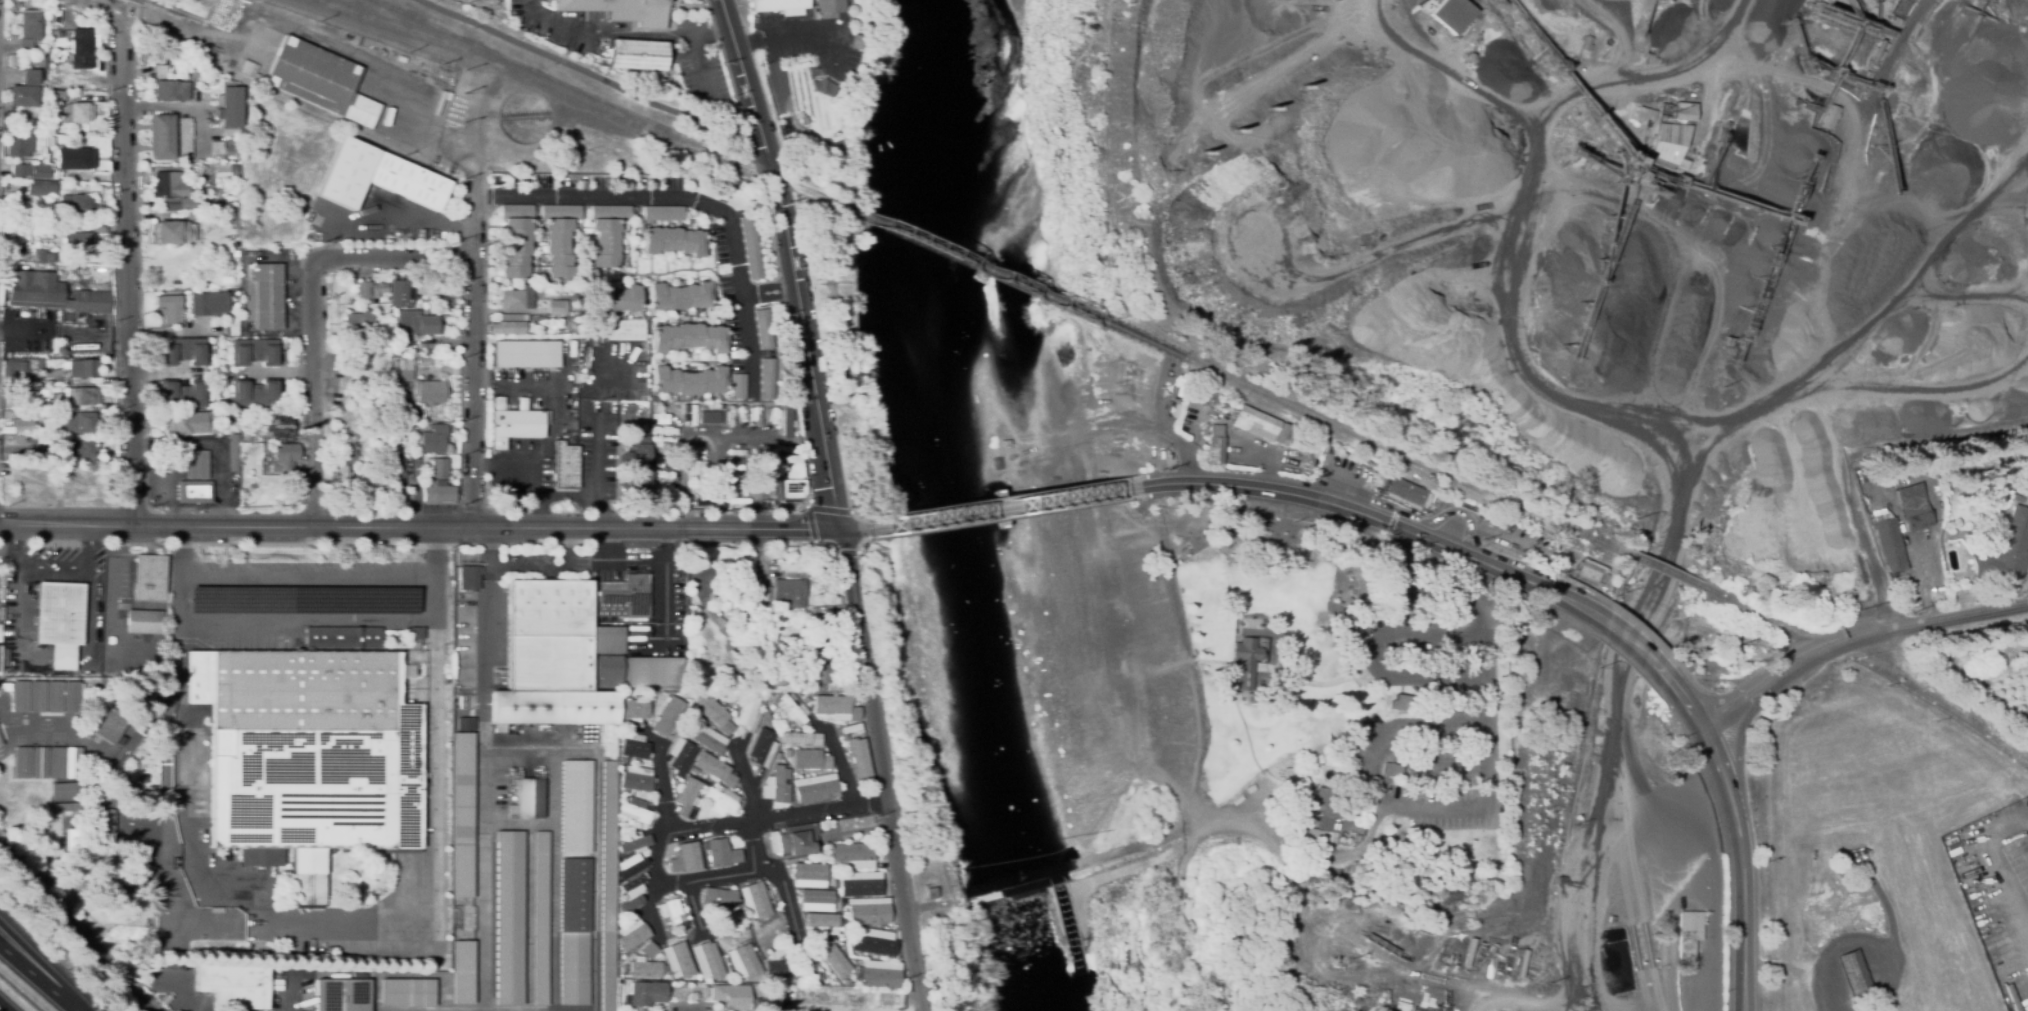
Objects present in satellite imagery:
building: (693, 0)
building: (1890, 1)
road: (104, 5)
building: (847, 5)
building: (780, 6)
building: (829, 6)
building: (621, 10)
building: (1453, 14)
road: (555, 19)
building: (1895, 22)
building: (29, 24)
road: (312, 36)
building: (858, 42)
building: (1586, 42)
building: (44, 46)
building: (82, 49)
building: (637, 55)
building: (171, 56)
building: (1469, 57)
building: (35, 59)
building: (12, 60)
building: (160, 71)
road: (588, 75)
railway: (524, 76)
building: (30, 77)
building: (320, 81)
building: (819, 82)
building: (171, 90)
building: (57, 95)
building: (24, 96)
railway: (607, 104)
building: (229, 106)
road: (180, 109)
building: (1685, 112)
building: (75, 113)
building: (1643, 115)
building: (1831, 117)
building: (8, 124)
building: (163, 136)
building: (185, 137)
building: (20, 145)
building: (1669, 147)
building: (216, 148)
building: (75, 159)
building: (32, 171)
building: (222, 171)
building: (235, 171)
building: (377, 177)
building: (226, 183)
building: (170, 184)
building: (42, 188)
road: (682, 199)
building: (185, 201)
building: (77, 204)
road: (401, 207)
building: (521, 212)
building: (561, 212)
building: (611, 212)
building: (663, 212)
building: (9, 230)
building: (171, 232)
building: (673, 241)
building: (78, 242)
building: (605, 242)
building: (751, 247)
building: (516, 248)
building: (558, 248)
building: (235, 253)
building: (44, 257)
road: (395, 260)
road: (789, 263)
road: (129, 268)
railway: (1014, 282)
building: (380, 287)
building: (364, 290)
building: (53, 293)
building: (401, 294)
road: (767, 295)
building: (263, 296)
building: (679, 296)
building: (614, 297)
building: (517, 298)
road: (472, 299)
park: (835, 300)
building: (353, 302)
building: (449, 302)
building: (209, 303)
building: (558, 308)
building: (170, 309)
building: (357, 322)
building: (417, 323)
building: (510, 325)
building: (764, 329)
road: (23, 332)
building: (627, 333)
building: (382, 335)
building: (689, 337)
building: (399, 348)
building: (61, 351)
building: (184, 352)
building: (255, 352)
building: (526, 354)
building: (83, 368)
building: (405, 368)
building: (20, 369)
road: (273, 373)
road: (168, 374)
building: (574, 376)
building: (767, 377)
building: (687, 381)
building: (50, 383)
building: (738, 386)
building: (405, 387)
building: (430, 391)
building: (255, 393)
road: (1601, 393)
building: (183, 394)
building: (82, 396)
road: (312, 396)
building: (498, 403)
building: (709, 417)
building: (786, 419)
building: (79, 422)
building: (189, 422)
building: (25, 425)
building: (1261, 425)
building: (279, 426)
building: (514, 426)
building: (1296, 436)
road: (1167, 437)
building: (433, 439)
road: (217, 446)
building: (1215, 446)
building: (82, 449)
building: (233, 449)
building: (345, 455)
building: (286, 457)
building: (1978, 457)
railway: (1409, 458)
building: (637, 464)
building: (197, 465)
road: (543, 465)
building: (565, 466)
building: (436, 468)
building: (1884, 472)
building: (340, 474)
building: (1860, 475)
building: (698, 477)
building: (790, 477)
parking lot: (1360, 477)
building: (398, 478)
road: (1816, 487)
building: (1405, 491)
building: (194, 492)
building: (438, 493)
road: (597, 497)
building: (2017, 499)
building: (1402, 502)
building: (1914, 507)
river: (949, 508)
road: (1008, 508)
road: (1307, 508)
road: (1358, 513)
building: (1880, 514)
parking lot: (1458, 518)
road: (421, 529)
road: (857, 530)
road: (1664, 536)
building: (1890, 543)
road: (87, 546)
building: (2007, 551)
parking lot: (528, 554)
road: (30, 563)
road: (529, 565)
building: (1591, 572)
railway: (1668, 572)
building: (150, 578)
building: (469, 578)
road: (307, 582)
road: (657, 583)
building: (790, 592)
building: (744, 594)
building: (624, 597)
building: (1451, 598)
building: (748, 606)
road: (110, 612)
road: (87, 614)
building: (59, 621)
building: (141, 622)
road: (302, 622)
building: (750, 627)
building: (546, 628)
building: (820, 629)
road: (1620, 630)
building: (416, 633)
building: (343, 637)
road: (1859, 640)
building: (0, 655)
building: (1246, 662)
railway: (1868, 670)
building: (608, 672)
building: (655, 672)
building: (774, 674)
building: (751, 678)
building: (818, 678)
road: (1329, 683)
building: (5, 686)
building: (623, 694)
building: (45, 696)
building: (810, 699)
building: (1400, 703)
building: (836, 706)
building: (558, 707)
building: (635, 710)
building: (794, 710)
building: (714, 712)
building: (749, 714)
building: (2026, 714)
building: (670, 718)
building: (468, 720)
building: (108, 722)
parking lot: (1432, 722)
park: (1182, 724)
building: (802, 737)
building: (620, 738)
building: (708, 739)
building: (0, 743)
building: (0, 744)
building: (635, 747)
building: (764, 750)
road: (543, 753)
building: (787, 753)
building: (860, 755)
building: (304, 756)
building: (779, 756)
building: (682, 757)
building: (810, 759)
road: (839, 762)
building: (47, 763)
road: (1743, 763)
road: (1450, 766)
building: (712, 769)
building: (691, 770)
road: (888, 770)
building: (1392, 770)
building: (636, 779)
building: (777, 785)
road: (482, 787)
building: (816, 788)
building: (67, 790)
building: (689, 798)
building: (527, 799)
building: (720, 801)
building: (1328, 805)
building: (67, 806)
building: (576, 807)
building: (635, 811)
building: (462, 816)
road: (783, 816)
road: (1590, 822)
building: (105, 823)
building: (1335, 826)
road: (691, 828)
building: (1326, 835)
building: (1310, 836)
road: (1744, 836)
building: (72, 840)
building: (794, 840)
building: (634, 842)
building: (721, 853)
building: (852, 854)
building: (683, 859)
building: (1845, 865)
building: (104, 870)
road: (752, 871)
building: (806, 875)
road: (555, 881)
building: (631, 882)
building: (607, 884)
building: (860, 884)
road: (651, 887)
building: (931, 893)
building: (816, 895)
building: (717, 897)
building: (753, 904)
road: (1706, 904)
road: (2003, 908)
building: (741, 910)
building: (870, 914)
building: (674, 916)
building: (509, 917)
building: (541, 918)
building: (821, 919)
building: (1612, 919)
building: (668, 923)
building: (728, 927)
road: (77, 928)
building: (850, 929)
building: (573, 932)
building: (1689, 933)
building: (635, 936)
building: (870, 943)
building: (649, 948)
river: (1050, 952)
building: (716, 958)
building: (748, 958)
building: (676, 960)
building: (708, 960)
building: (833, 961)
building: (807, 965)
building: (645, 968)
building: (778, 968)
road: (39, 970)
building: (463, 972)
building: (881, 974)
building: (1854, 974)
road: (38, 977)
building: (233, 985)
building: (775, 992)
road: (294, 993)
building: (407, 993)
building: (647, 993)
road: (181, 994)
building: (341, 995)
building: (731, 996)
building: (833, 996)
road: (879, 999)
building: (888, 1000)
building: (805, 1003)
road: (4, 1007)

